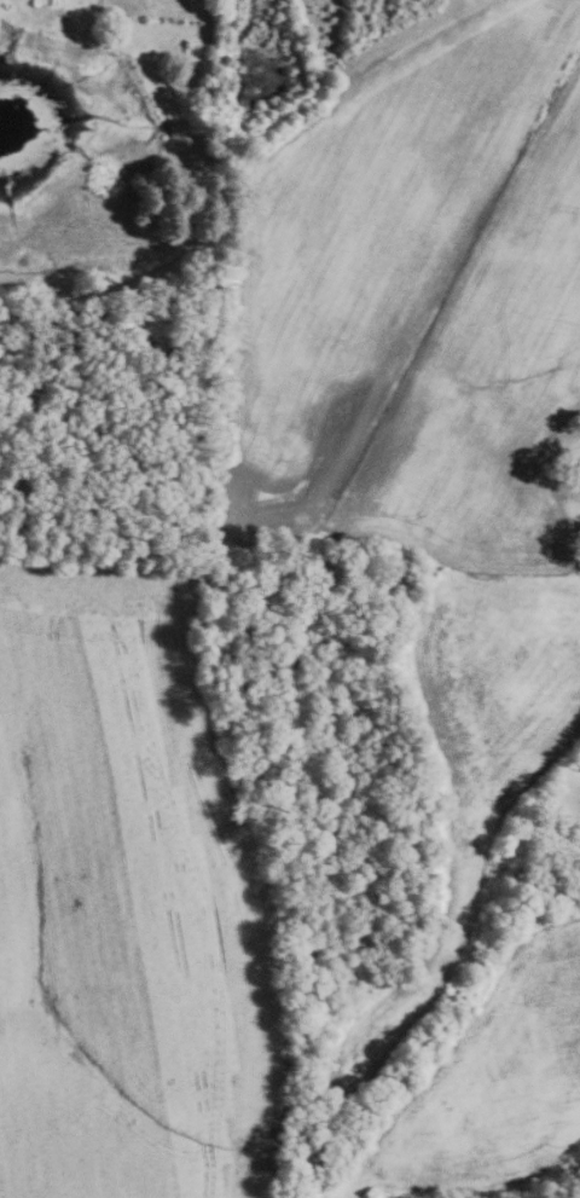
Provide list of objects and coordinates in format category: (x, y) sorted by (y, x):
building: (576, 459)

